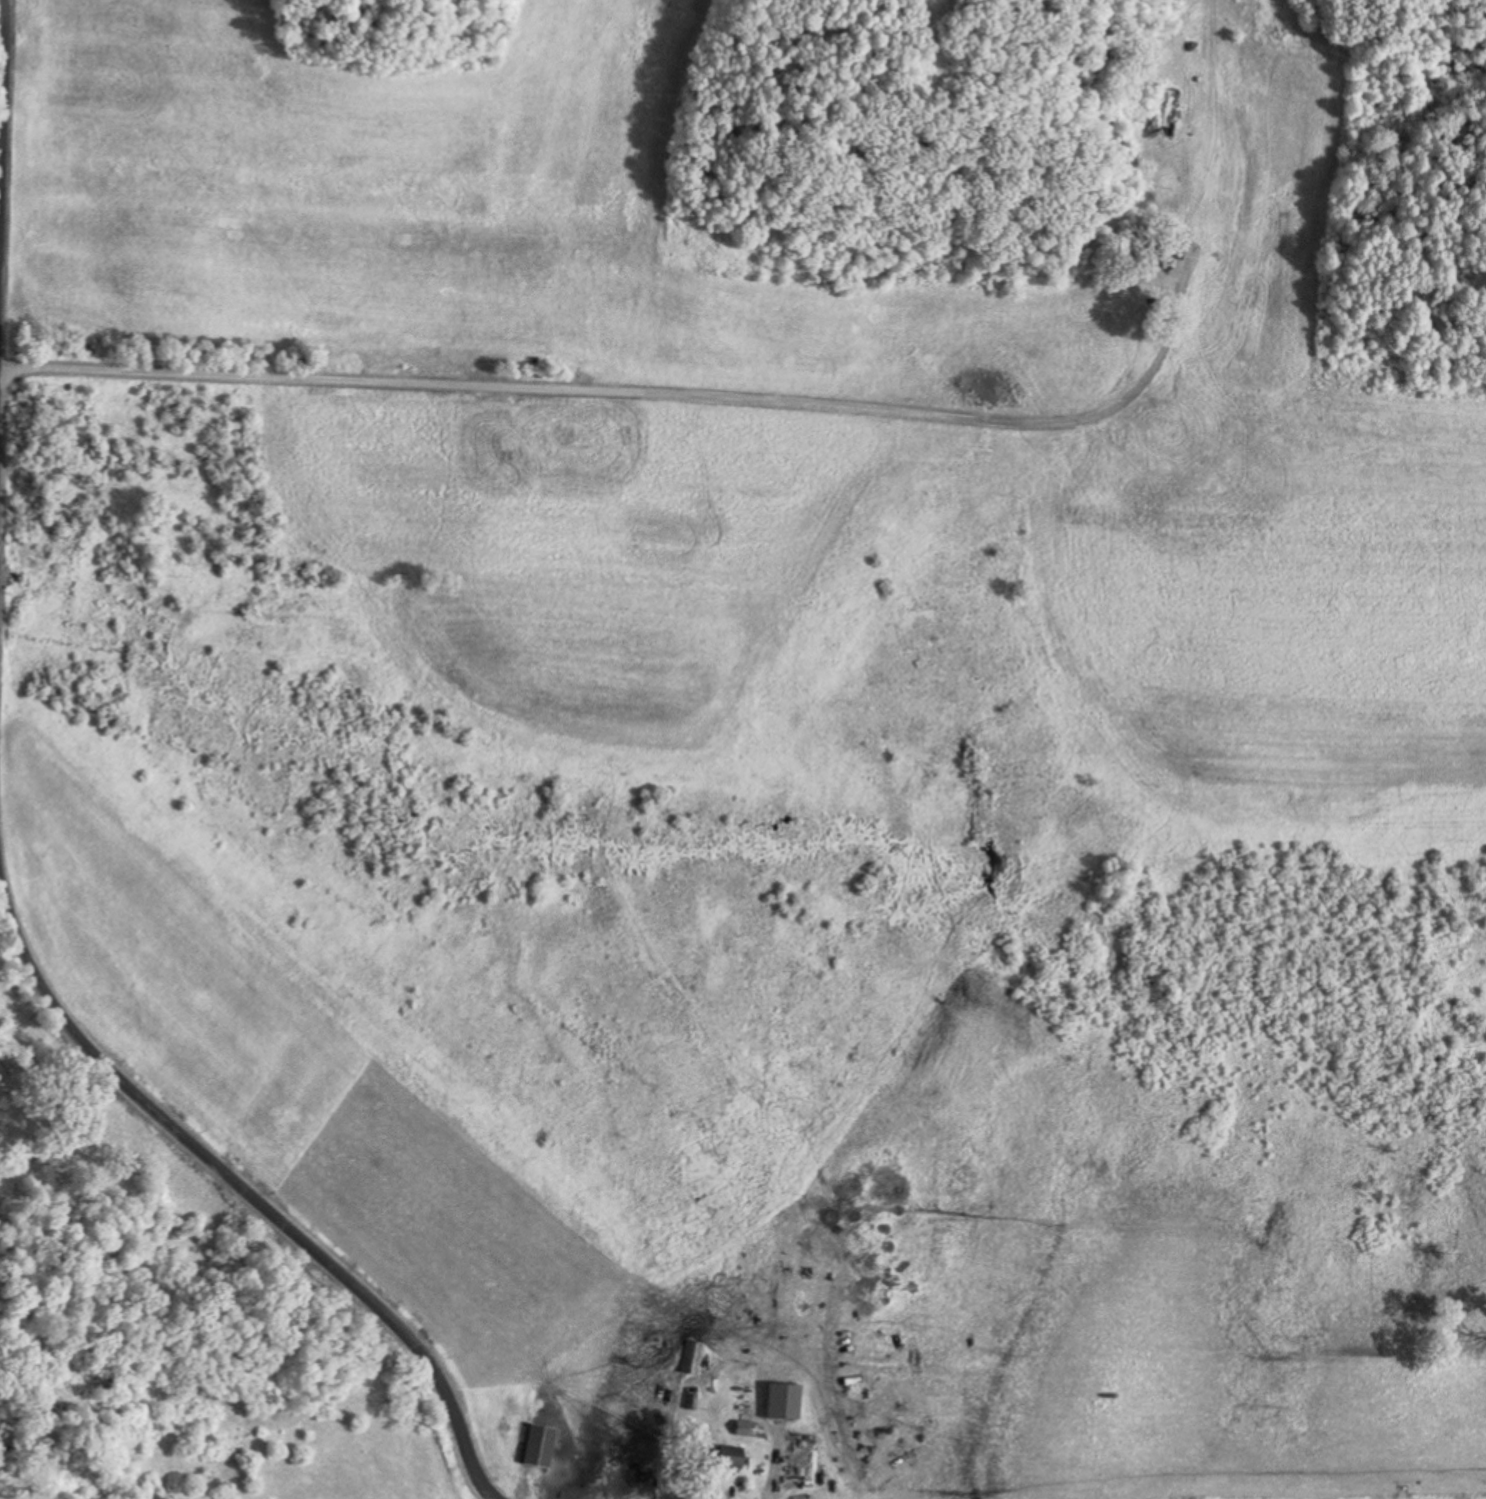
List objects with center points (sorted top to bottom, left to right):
crop: (2, 81)
road: (3, 120)
building: (1166, 257)
crop: (755, 375)
road: (567, 385)
crop: (292, 1084)
road: (247, 1187)
building: (691, 1358)
building: (779, 1402)
building: (742, 1428)
crop: (318, 1436)
building: (543, 1445)
building: (720, 1456)

